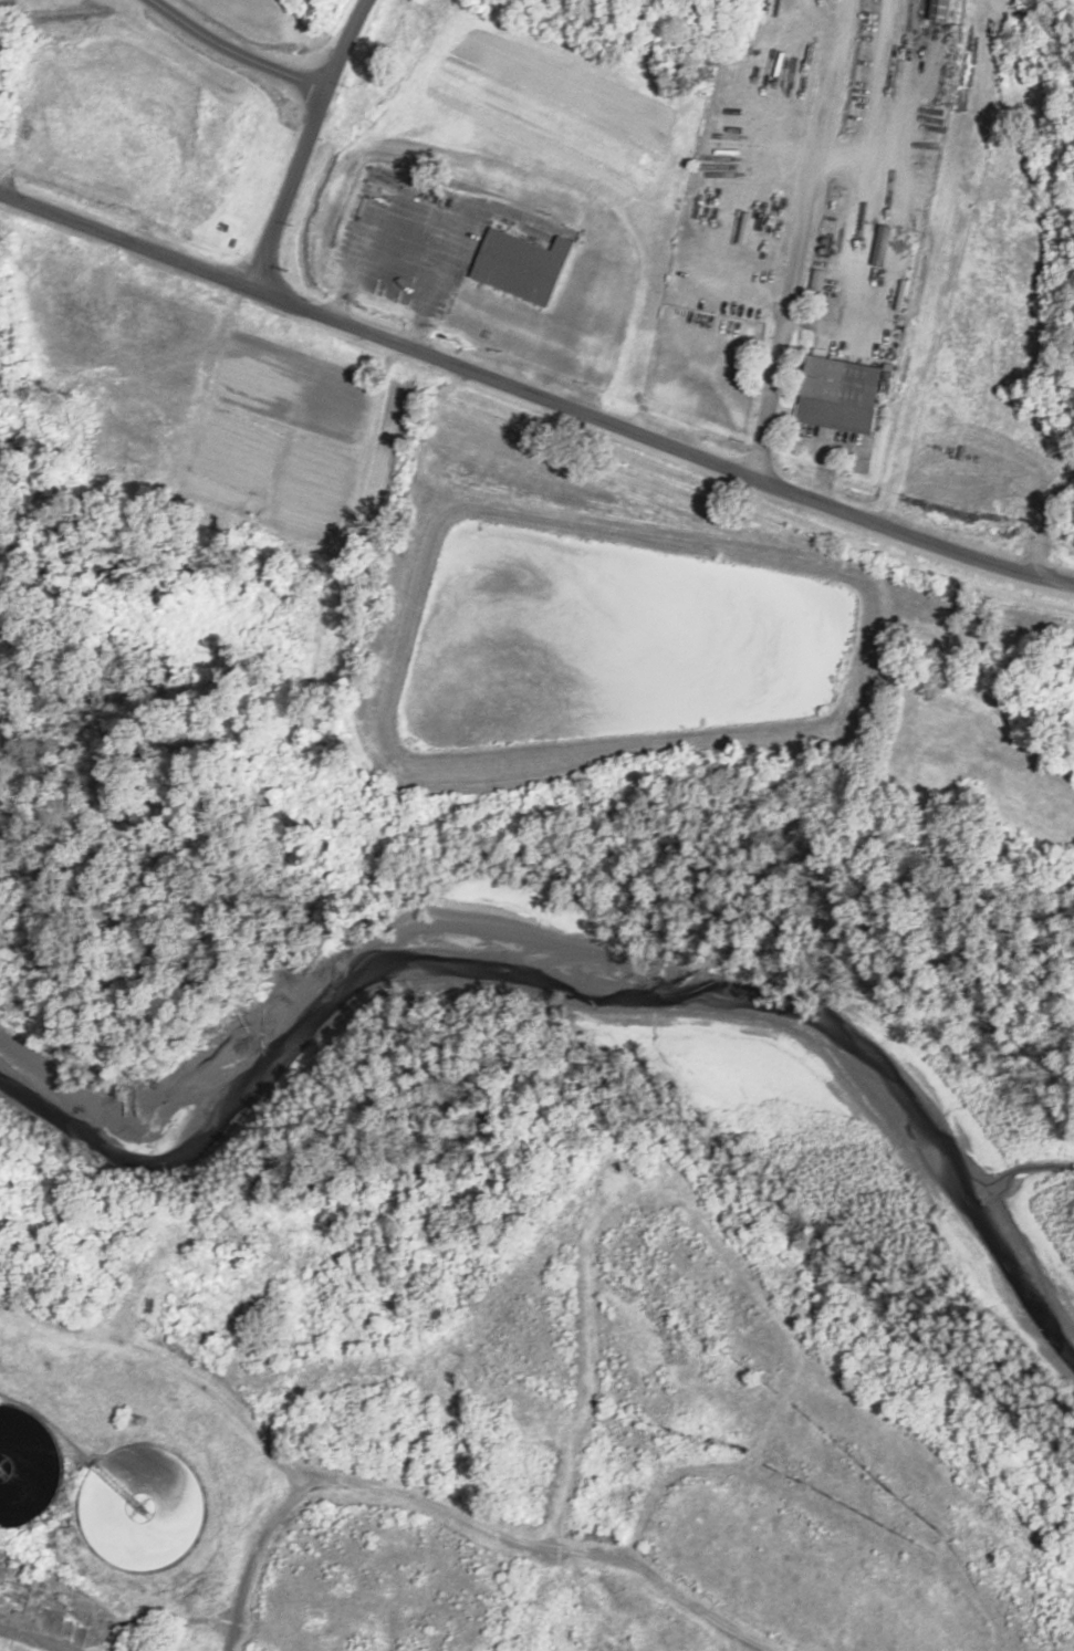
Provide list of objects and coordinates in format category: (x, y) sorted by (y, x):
building: (937, 10)
road: (233, 52)
road: (301, 142)
building: (521, 265)
building: (837, 394)
road: (534, 396)
building: (380, 790)
river: (546, 903)
building: (2, 1412)
building: (1, 1434)
building: (11, 1480)
road: (337, 1485)
road: (257, 1556)

